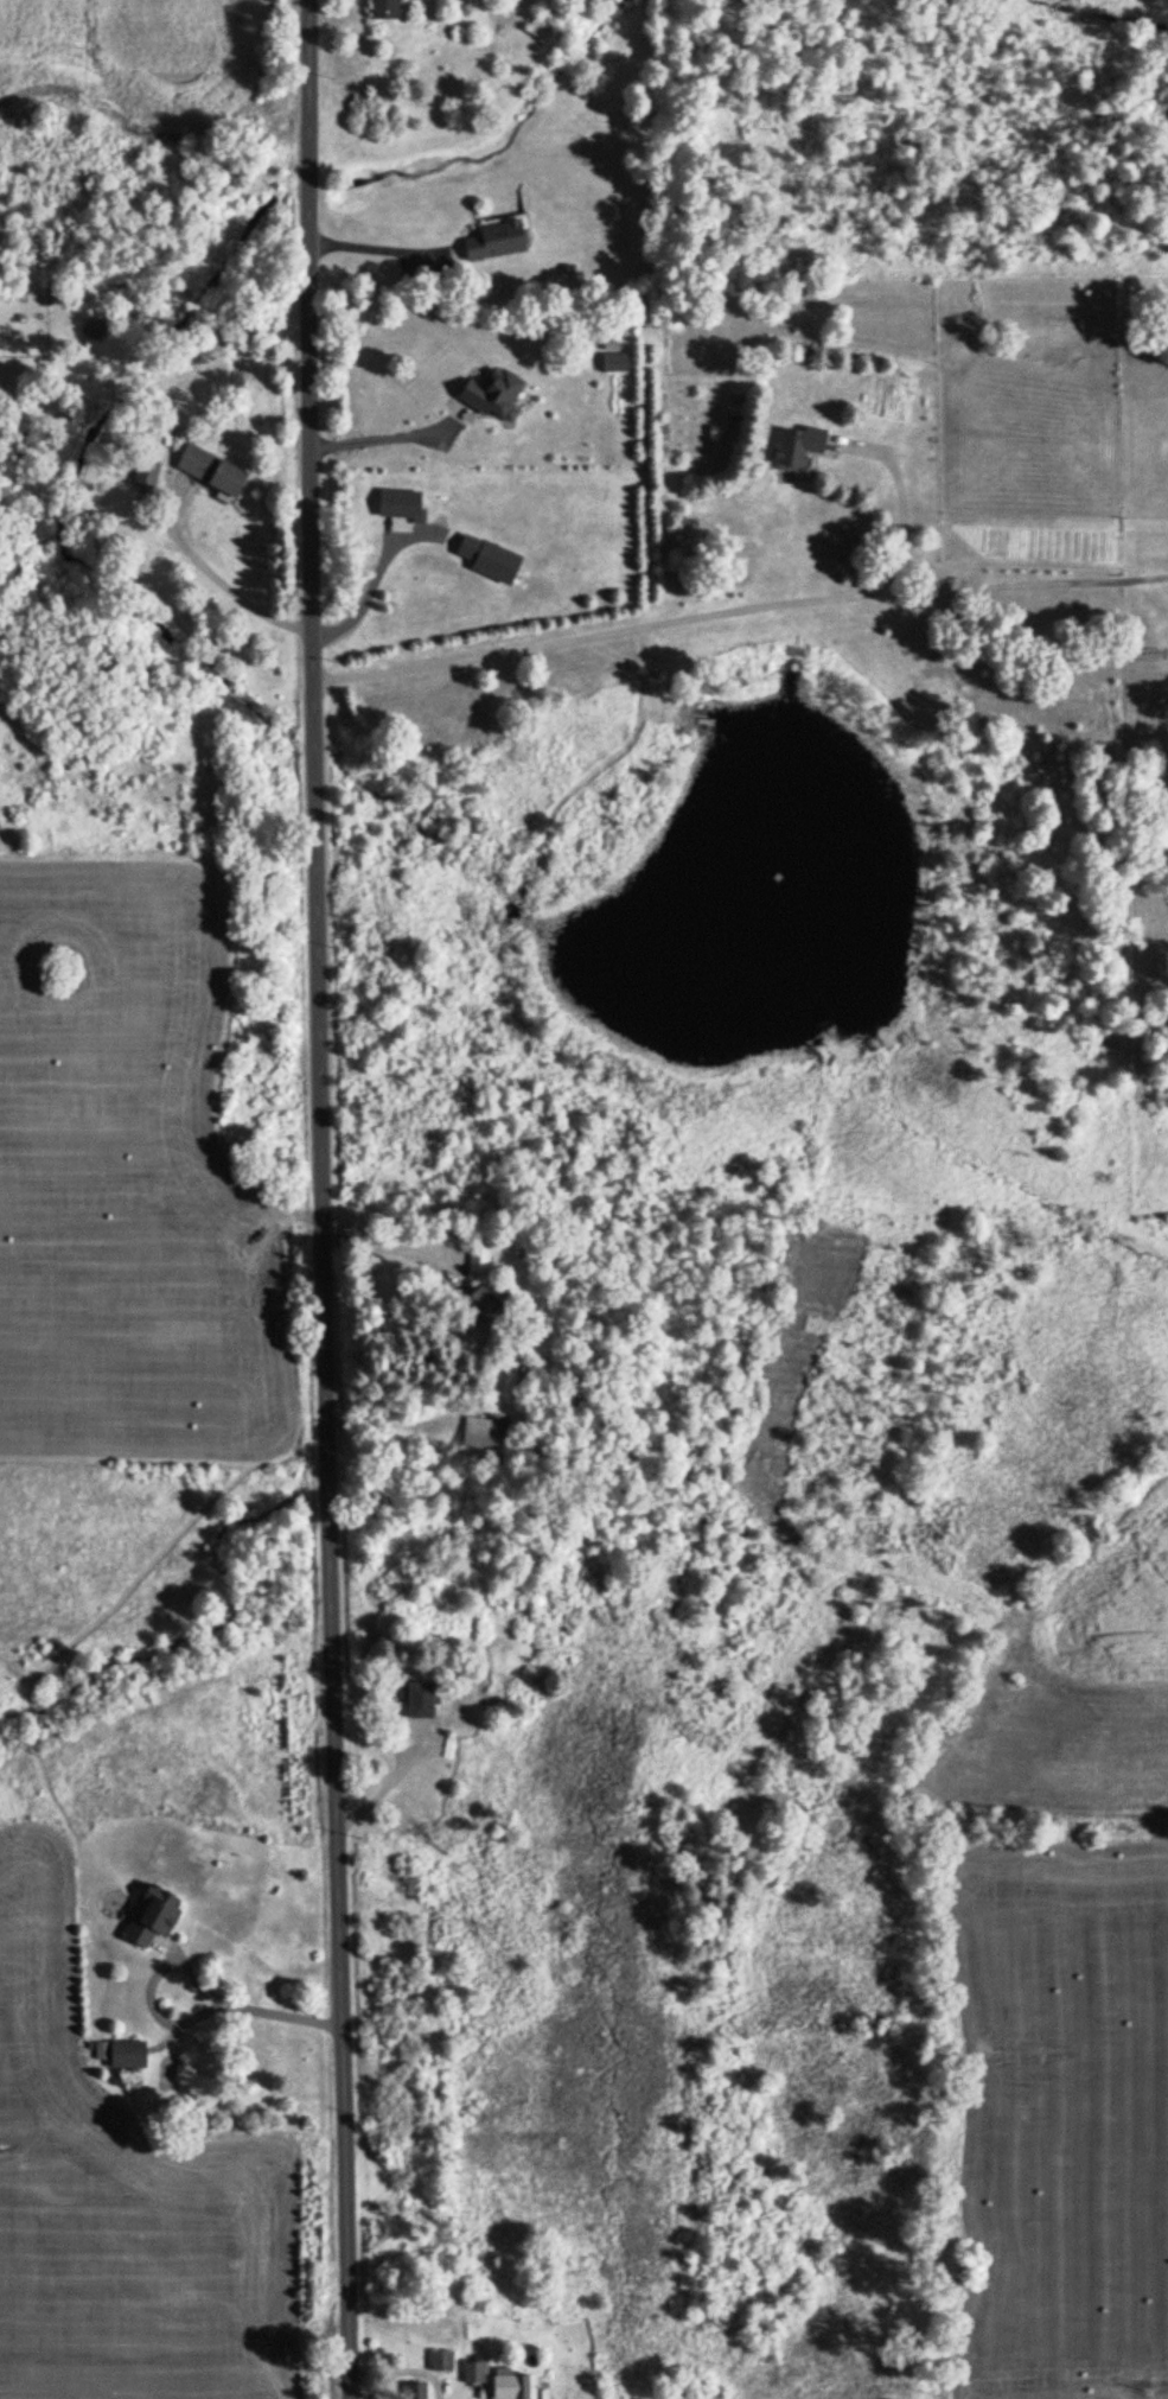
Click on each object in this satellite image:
building: (385, 11)
building: (543, 26)
crop: (141, 53)
building: (498, 241)
road: (391, 252)
building: (800, 444)
building: (212, 470)
building: (146, 475)
road: (917, 501)
road: (231, 577)
road: (745, 610)
crop: (133, 1173)
road: (333, 1199)
road: (398, 1241)
building: (480, 1253)
building: (490, 1310)
road: (397, 1420)
building: (484, 1440)
building: (480, 1672)
crop: (1079, 1685)
building: (422, 1699)
road: (398, 1789)
building: (155, 1917)
road: (206, 1970)
building: (129, 2055)
crop: (1060, 2117)
crop: (130, 2189)
building: (443, 2361)
building: (476, 2373)
building: (516, 2386)
building: (417, 2391)

